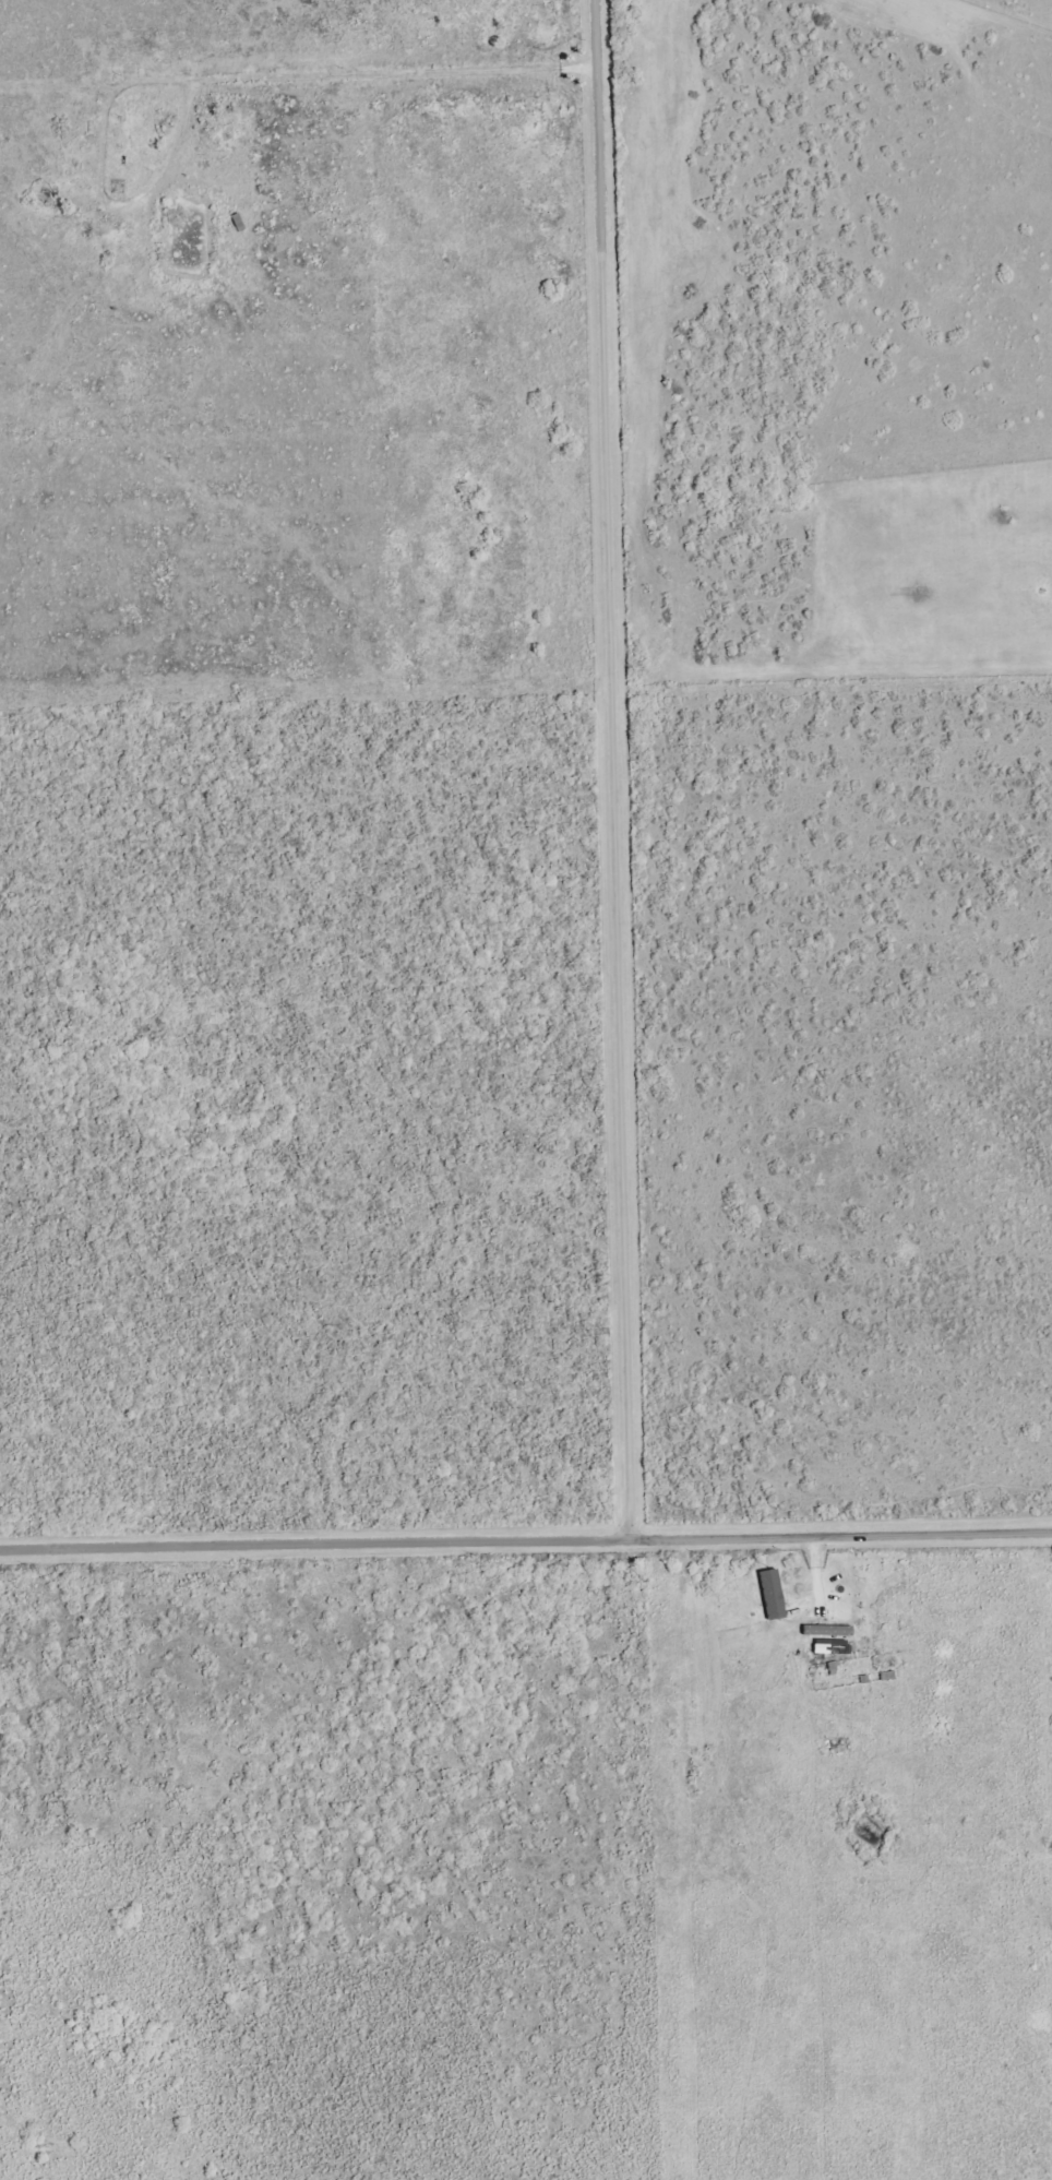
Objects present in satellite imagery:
road: (615, 766)
road: (525, 1536)
building: (770, 1594)
building: (826, 1630)
building: (827, 1646)

